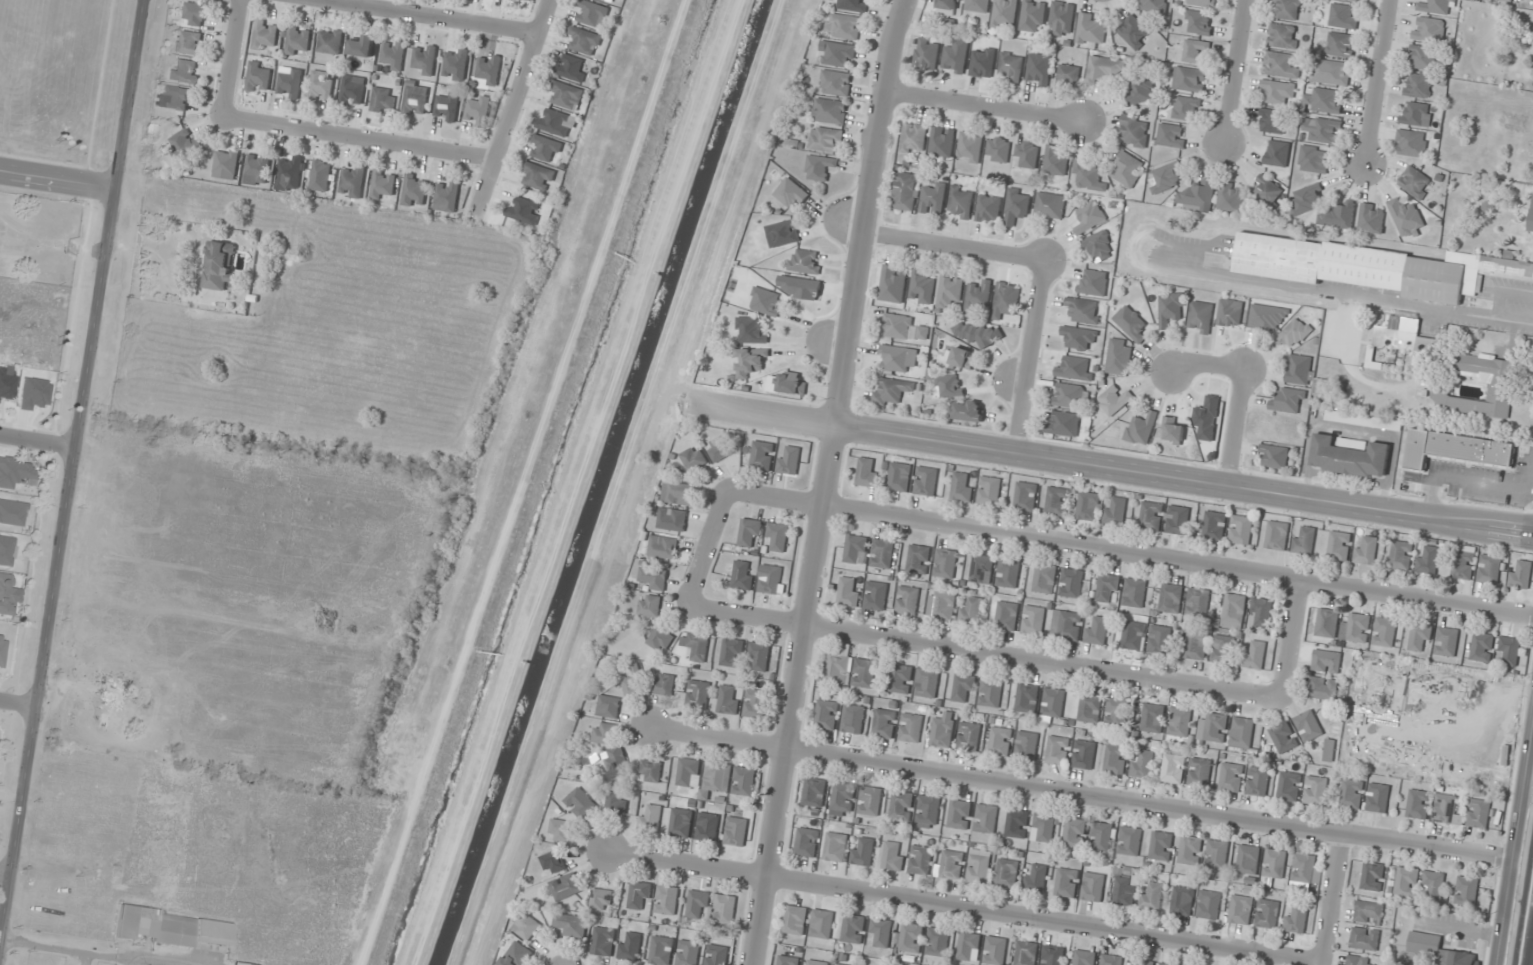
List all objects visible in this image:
building: (608, 0)
building: (1356, 0)
building: (1505, 1)
building: (1203, 3)
building: (948, 4)
building: (851, 5)
building: (977, 5)
building: (1153, 6)
building: (1437, 7)
building: (1286, 9)
building: (591, 13)
building: (196, 14)
building: (1004, 14)
building: (1032, 15)
road: (426, 17)
building: (1342, 17)
building: (1061, 19)
building: (1198, 22)
building: (843, 26)
building: (1090, 29)
building: (1429, 29)
building: (1133, 32)
building: (1282, 35)
building: (265, 36)
building: (298, 40)
building: (330, 41)
building: (583, 41)
building: (190, 43)
building: (1340, 44)
building: (363, 47)
building: (1195, 51)
building: (926, 53)
building: (837, 54)
building: (392, 55)
building: (955, 56)
building: (1423, 57)
road: (233, 59)
building: (424, 59)
building: (982, 62)
building: (455, 64)
building: (1280, 65)
building: (1010, 67)
building: (571, 68)
building: (1039, 69)
building: (1105, 69)
building: (184, 71)
building: (489, 71)
road: (1232, 71)
building: (1334, 73)
building: (1067, 76)
building: (259, 78)
building: (1189, 79)
road: (520, 80)
road: (1376, 80)
building: (835, 83)
building: (290, 84)
building: (1419, 85)
building: (321, 86)
building: (1139, 89)
building: (353, 91)
building: (565, 95)
building: (175, 98)
building: (416, 98)
building: (383, 99)
building: (1323, 101)
road: (986, 104)
building: (446, 105)
building: (1186, 108)
building: (478, 111)
building: (830, 111)
building: (1416, 114)
building: (1272, 121)
building: (556, 122)
building: (1133, 130)
building: (1322, 130)
building: (1171, 136)
building: (913, 138)
building: (826, 139)
road: (357, 140)
building: (941, 142)
building: (184, 143)
building: (1411, 143)
building: (970, 147)
building: (545, 148)
building: (998, 149)
building: (1277, 153)
building: (1026, 154)
building: (1313, 159)
building: (1054, 161)
building: (227, 164)
building: (820, 167)
building: (258, 168)
building: (1127, 170)
building: (321, 175)
building: (535, 176)
building: (1088, 176)
building: (1166, 177)
road: (57, 179)
building: (352, 181)
building: (1415, 182)
building: (383, 184)
road: (483, 188)
building: (415, 190)
building: (905, 191)
building: (1267, 192)
building: (791, 194)
building: (1197, 194)
building: (447, 196)
building: (1231, 197)
building: (932, 198)
building: (1308, 198)
building: (960, 202)
building: (1049, 205)
building: (1016, 206)
building: (988, 209)
building: (523, 210)
building: (1405, 216)
building: (1531, 216)
building: (1089, 217)
building: (1371, 218)
building: (782, 233)
road: (955, 246)
building: (1099, 246)
building: (804, 261)
building: (218, 265)
building: (1375, 267)
building: (1093, 282)
building: (892, 284)
building: (950, 291)
building: (978, 296)
building: (1006, 300)
building: (765, 301)
building: (1170, 308)
building: (1084, 310)
building: (1230, 312)
building: (1201, 317)
building: (1131, 323)
building: (903, 328)
building: (751, 330)
building: (1294, 333)
building: (977, 334)
building: (1079, 338)
building: (1401, 338)
road: (1030, 357)
building: (1119, 357)
building: (898, 358)
building: (961, 358)
building: (751, 361)
road: (1206, 364)
building: (1074, 369)
building: (1300, 370)
building: (791, 383)
building: (948, 386)
building: (1502, 386)
building: (891, 391)
building: (1067, 395)
building: (1114, 401)
building: (1289, 401)
building: (969, 411)
building: (1363, 420)
building: (1063, 423)
road: (1235, 427)
building: (1141, 428)
building: (1173, 431)
road: (37, 441)
building: (719, 449)
building: (1457, 450)
building: (762, 455)
building: (1275, 455)
building: (1349, 457)
building: (693, 458)
building: (789, 460)
road: (70, 467)
road: (1110, 468)
building: (16, 472)
building: (867, 473)
building: (899, 476)
road: (827, 481)
building: (926, 481)
building: (961, 486)
building: (989, 491)
building: (678, 493)
building: (1026, 496)
building: (1057, 501)
building: (1088, 505)
road: (365, 506)
building: (1115, 510)
building: (12, 513)
building: (1151, 516)
building: (672, 519)
building: (1178, 520)
building: (1214, 525)
building: (1241, 530)
building: (750, 532)
building: (1277, 535)
building: (778, 536)
building: (1304, 540)
building: (1339, 545)
building: (663, 546)
road: (705, 547)
building: (856, 549)
building: (1366, 549)
road: (1128, 552)
building: (882, 553)
building: (1401, 555)
building: (919, 559)
building: (1428, 560)
building: (1464, 562)
building: (946, 563)
building: (982, 569)
building: (1490, 569)
building: (1008, 573)
road: (109, 574)
building: (742, 576)
building: (1521, 576)
building: (654, 578)
building: (771, 579)
building: (1045, 579)
building: (1071, 583)
building: (1108, 588)
building: (848, 592)
building: (7, 593)
building: (1134, 593)
building: (876, 596)
building: (1171, 598)
building: (907, 600)
building: (1197, 602)
building: (649, 605)
building: (944, 606)
building: (971, 610)
building: (1233, 611)
building: (1261, 611)
building: (1007, 615)
building: (1033, 620)
building: (1326, 623)
building: (1066, 625)
road: (325, 626)
building: (1356, 628)
building: (1097, 630)
building: (1384, 632)
building: (1133, 634)
building: (1419, 637)
road: (1289, 638)
building: (660, 639)
building: (1160, 639)
building: (1446, 641)
building: (1196, 645)
building: (695, 646)
building: (1482, 647)
building: (1222, 649)
road: (982, 650)
building: (2, 651)
building: (1509, 651)
building: (732, 652)
building: (1255, 654)
building: (761, 655)
building: (1326, 661)
building: (838, 669)
building: (864, 673)
building: (901, 679)
building: (633, 683)
building: (926, 683)
building: (663, 684)
building: (963, 688)
building: (1323, 688)
building: (990, 692)
building: (698, 694)
building: (1027, 698)
building: (728, 700)
building: (754, 703)
road: (17, 704)
building: (1052, 704)
building: (116, 705)
building: (608, 706)
building: (1090, 708)
building: (1117, 712)
building: (827, 714)
building: (853, 718)
building: (1152, 718)
building: (1179, 722)
building: (884, 723)
building: (1308, 726)
building: (911, 728)
building: (1212, 728)
building: (943, 731)
building: (1242, 731)
building: (604, 733)
building: (968, 736)
building: (1283, 737)
building: (1000, 741)
building: (1026, 745)
building: (1057, 750)
building: (1329, 750)
building: (1084, 754)
building: (1115, 759)
building: (1475, 760)
building: (616, 762)
building: (1142, 764)
building: (1173, 768)
building: (650, 771)
building: (688, 771)
building: (1200, 772)
building: (1231, 777)
building: (714, 778)
building: (744, 781)
building: (1257, 781)
building: (1315, 790)
building: (815, 791)
building: (1351, 793)
road: (1093, 794)
building: (844, 796)
building: (1377, 797)
building: (870, 801)
building: (616, 802)
building: (580, 803)
building: (1418, 804)
building: (900, 805)
building: (1444, 808)
building: (928, 809)
building: (1478, 813)
building: (959, 814)
building: (649, 818)
building: (985, 818)
building: (680, 822)
building: (1017, 823)
building: (708, 827)
building: (1043, 828)
building: (561, 830)
building: (736, 831)
building: (1075, 832)
building: (96, 835)
building: (1101, 837)
building: (1130, 841)
building: (807, 842)
building: (339, 845)
building: (1161, 845)
building: (836, 847)
building: (1190, 850)
building: (863, 851)
building: (1217, 854)
building: (892, 857)
building: (1248, 859)
building: (920, 860)
building: (553, 862)
building: (952, 865)
building: (1274, 866)
building: (978, 869)
building: (1305, 870)
building: (1007, 873)
road: (4, 876)
building: (1372, 876)
building: (1035, 878)
building: (1406, 881)
building: (1067, 882)
building: (566, 886)
building: (1124, 886)
building: (1433, 886)
building: (1093, 887)
building: (1466, 890)
building: (639, 896)
building: (1151, 896)
road: (1330, 898)
building: (601, 899)
building: (666, 900)
building: (1182, 900)
building: (697, 903)
road: (963, 904)
building: (1208, 905)
building: (1242, 908)
building: (724, 909)
building: (1369, 912)
building: (1267, 913)
building: (1296, 918)
building: (796, 920)
building: (822, 924)
road: (1526, 924)
building: (569, 925)
building: (526, 926)
building: (171, 928)
building: (852, 929)
building: (880, 931)
building: (910, 938)
building: (1364, 938)
building: (603, 942)
building: (937, 942)
building: (630, 946)
building: (968, 946)
building: (661, 950)
building: (1438, 950)
building: (994, 951)
road: (77, 953)
building: (688, 953)
building: (1026, 953)
building: (517, 955)
building: (717, 955)
building: (1052, 955)
building: (1084, 958)
building: (789, 960)
building: (1111, 960)
building: (1360, 961)
building: (817, 962)
building: (1142, 962)
building: (237, 964)
building: (839, 964)
building: (1165, 964)

